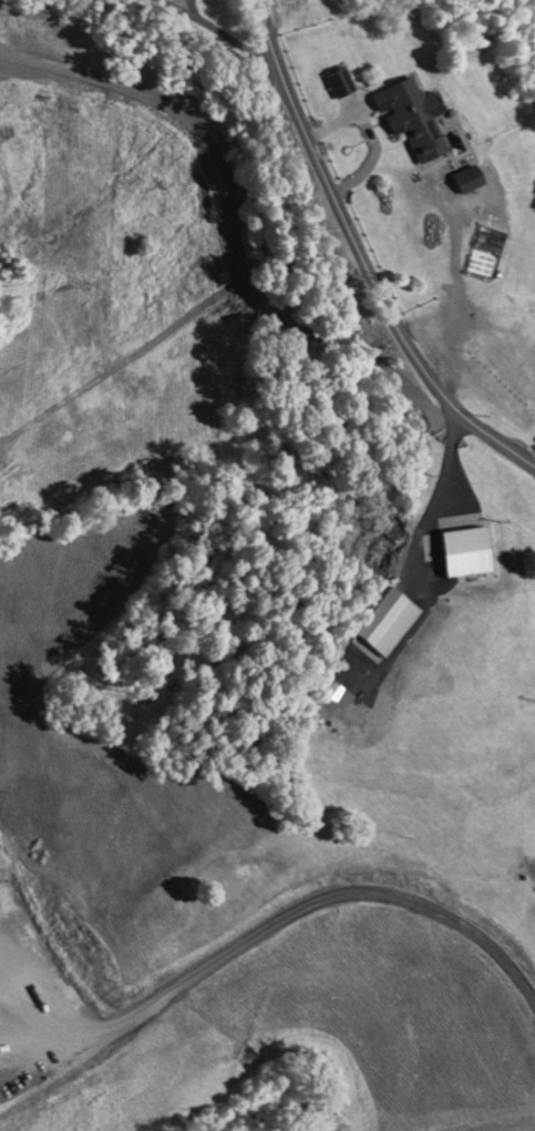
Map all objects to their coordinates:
building: (185, 10)
building: (337, 79)
building: (407, 114)
road: (351, 258)
building: (461, 550)
building: (377, 614)

